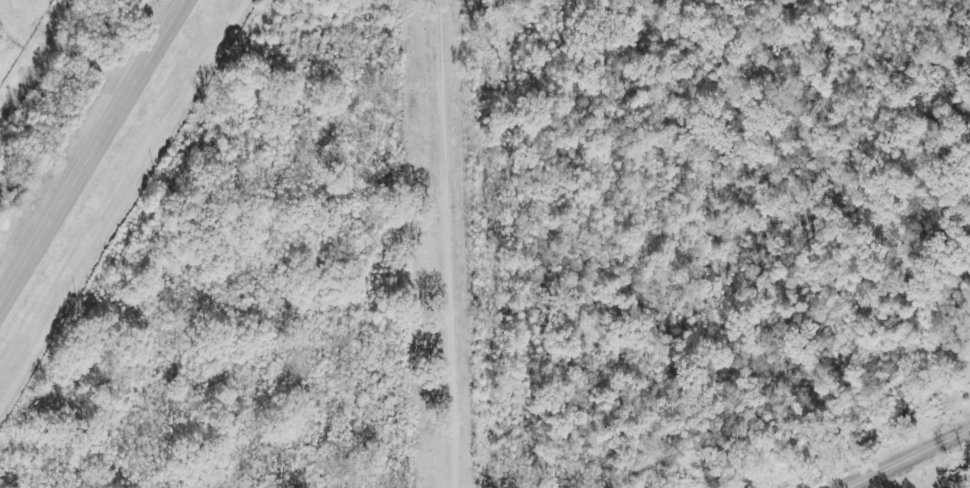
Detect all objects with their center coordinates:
road: (94, 156)

